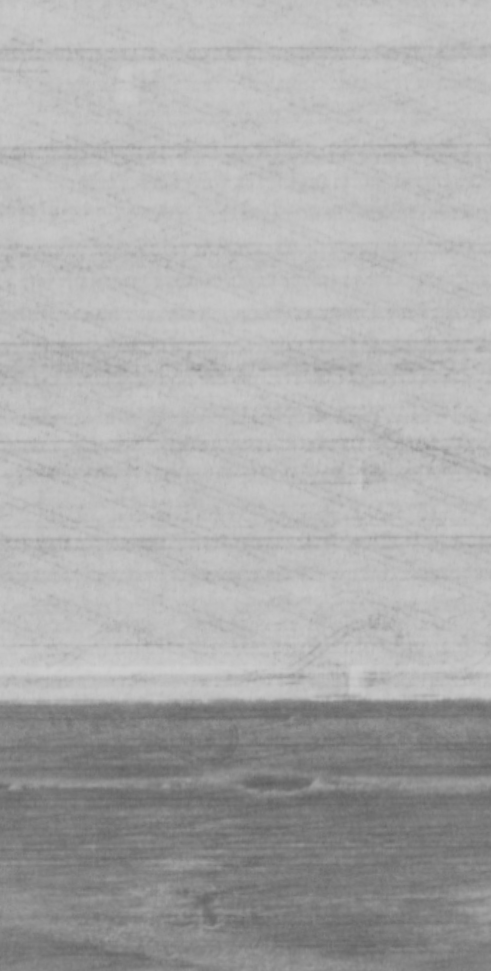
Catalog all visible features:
road: (245, 700)

